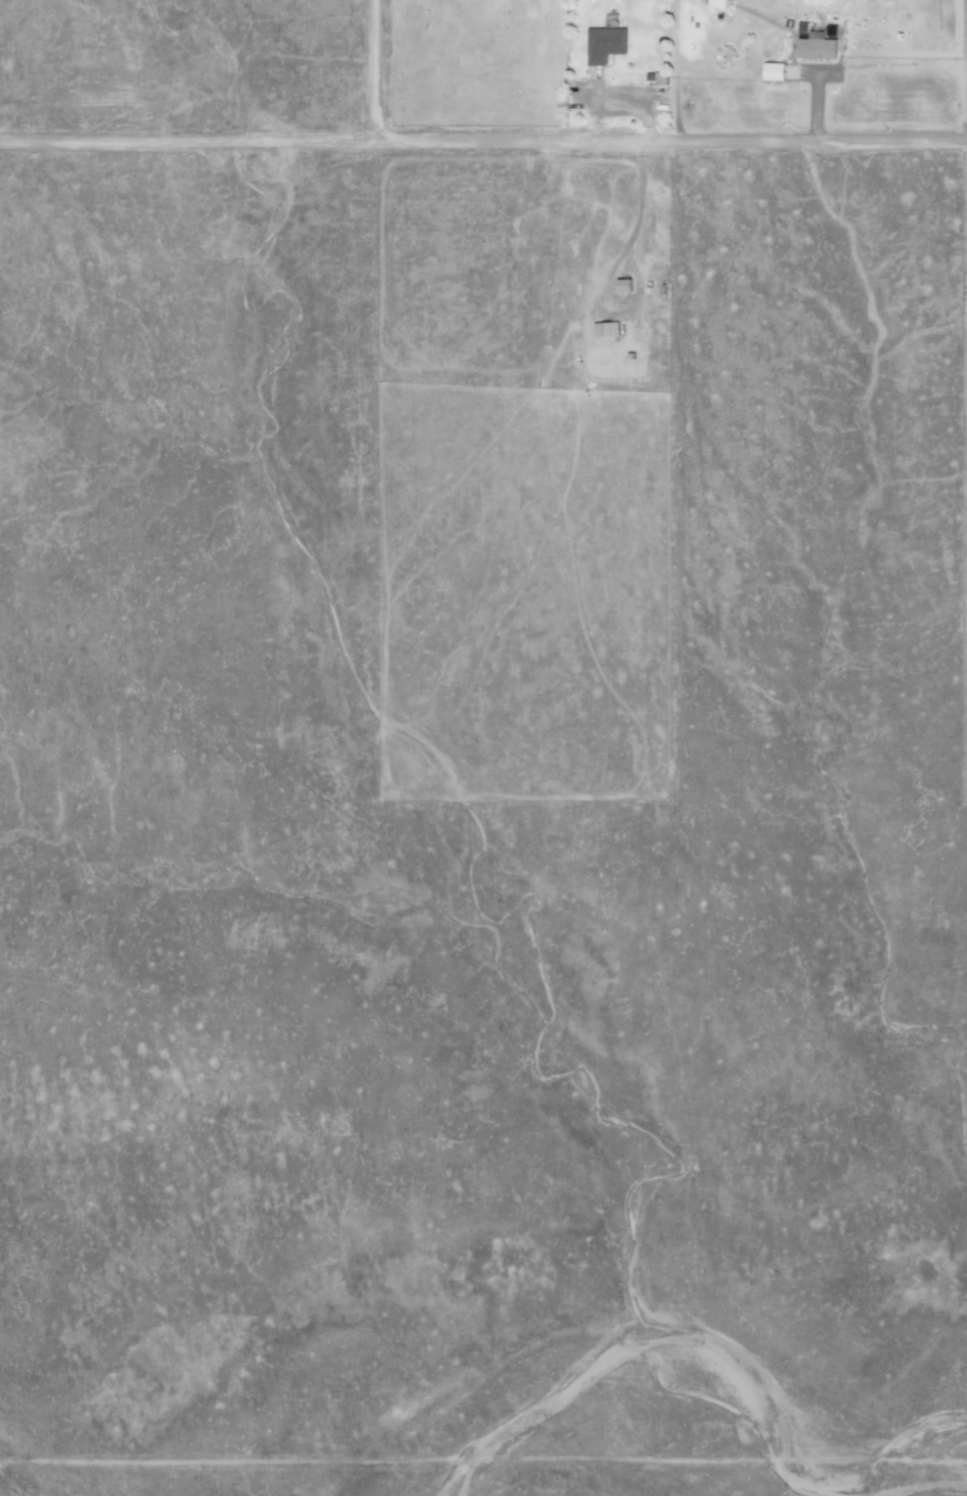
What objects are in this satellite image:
building: (716, 3)
building: (604, 42)
building: (817, 46)
road: (369, 69)
building: (775, 71)
road: (483, 138)
building: (606, 329)
road: (483, 1456)

